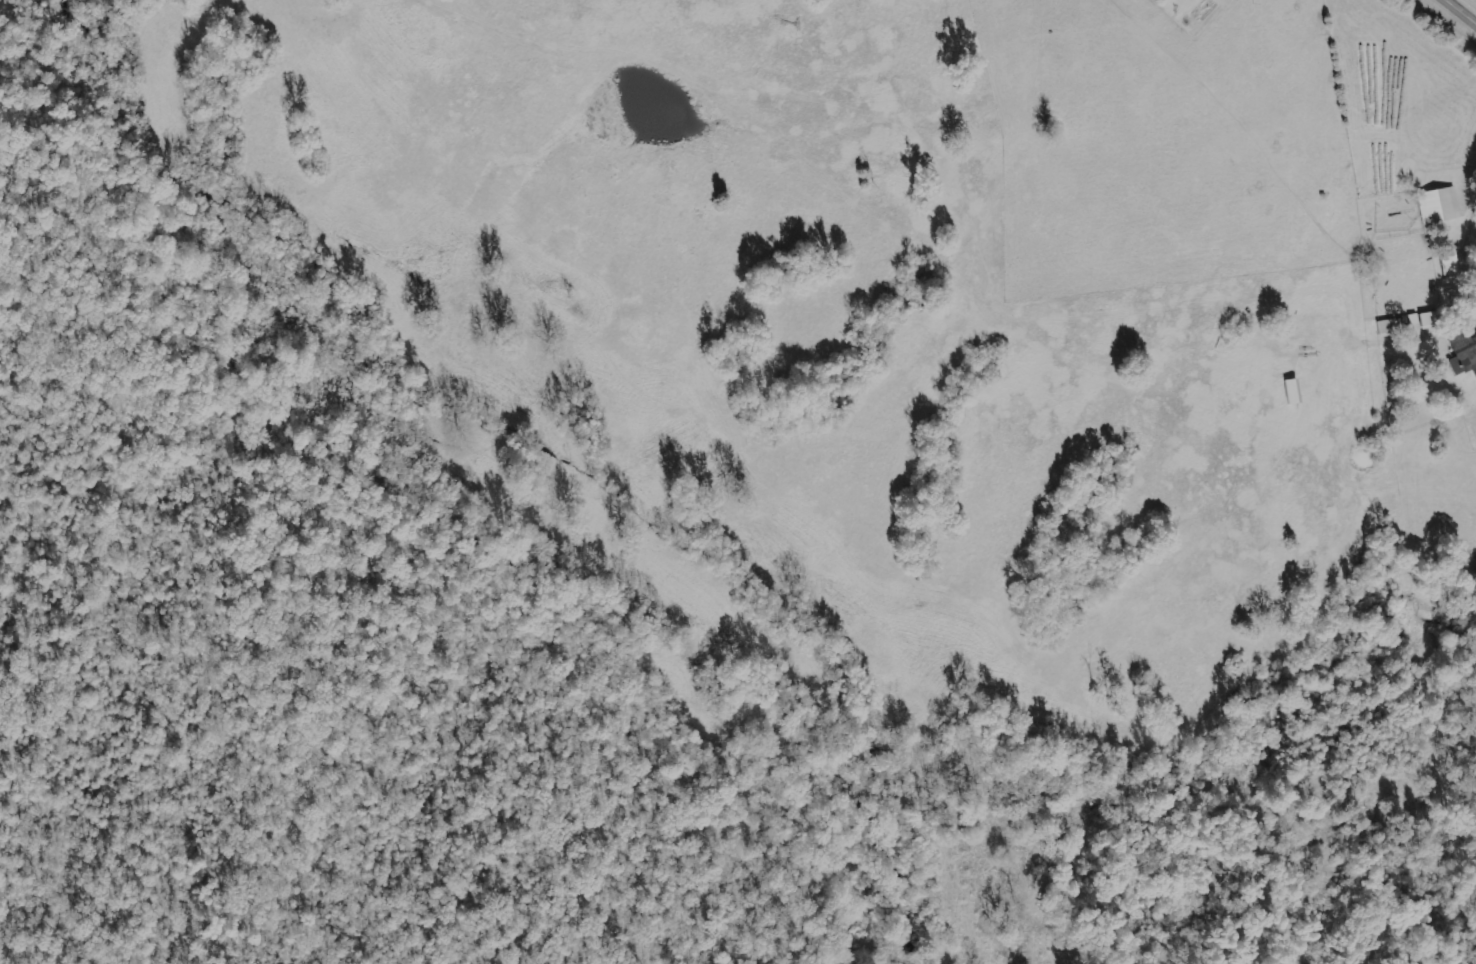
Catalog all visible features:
road: (1458, 13)
building: (1439, 205)
building: (1448, 262)
building: (1413, 318)
building: (1429, 319)
building: (1387, 327)
building: (1463, 353)

